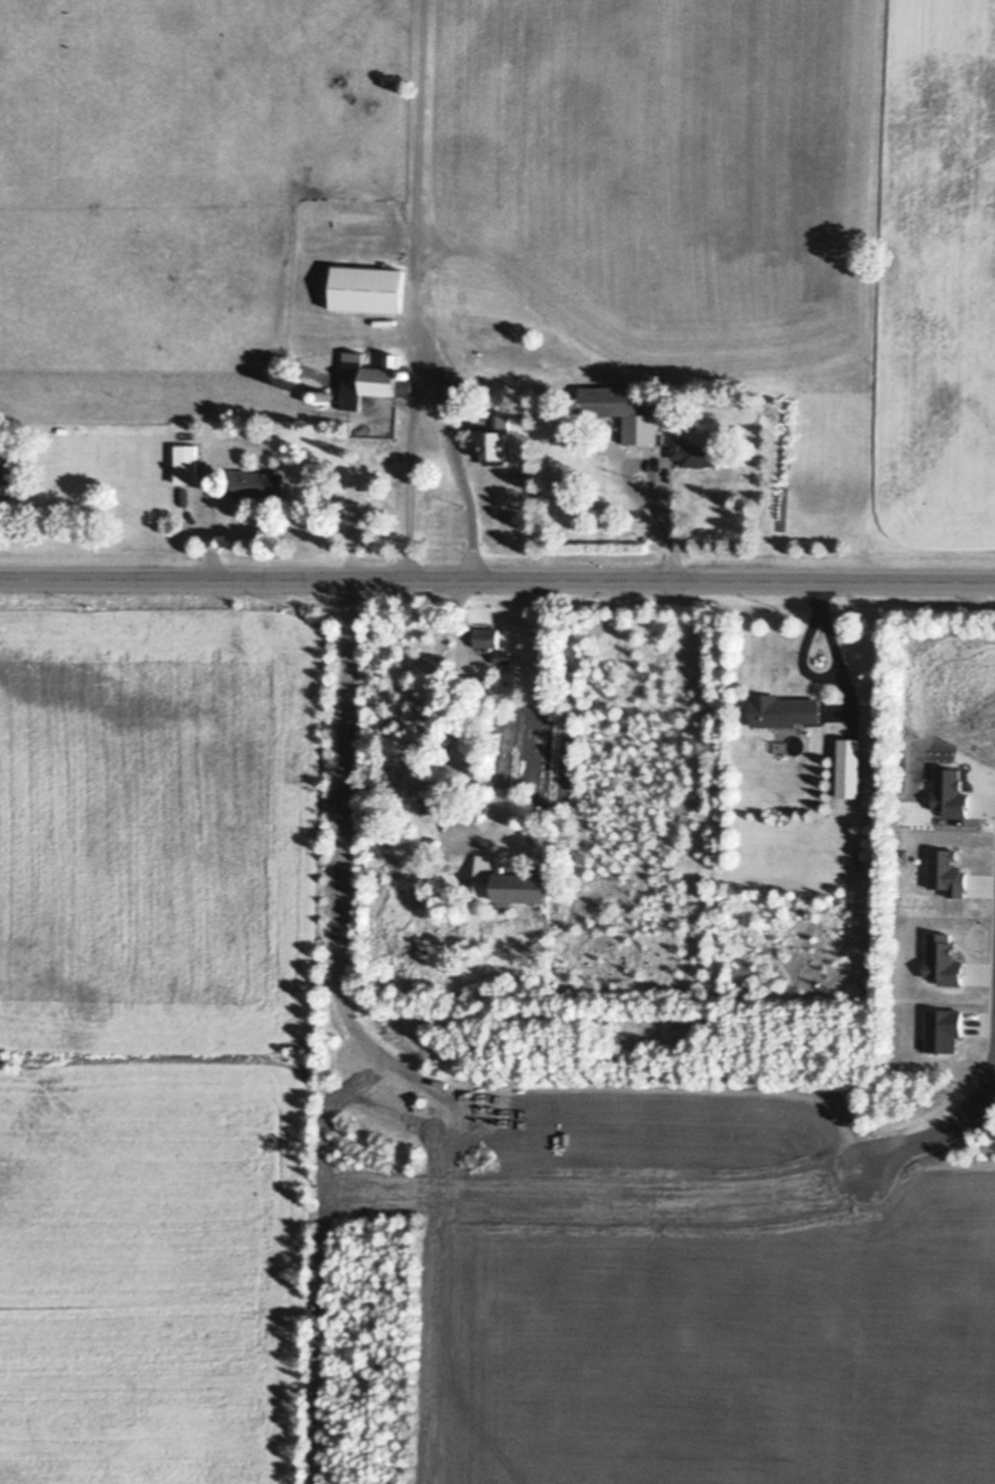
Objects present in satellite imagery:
building: (369, 284)
building: (373, 375)
road: (435, 378)
building: (328, 394)
building: (623, 409)
building: (63, 428)
building: (185, 433)
building: (497, 438)
building: (695, 450)
building: (187, 461)
building: (7, 478)
building: (257, 481)
road: (648, 488)
road: (497, 584)
building: (486, 636)
building: (501, 655)
road: (456, 694)
building: (782, 708)
building: (849, 765)
building: (422, 787)
road: (341, 868)
building: (506, 881)
crop: (158, 1035)
road: (943, 1134)

